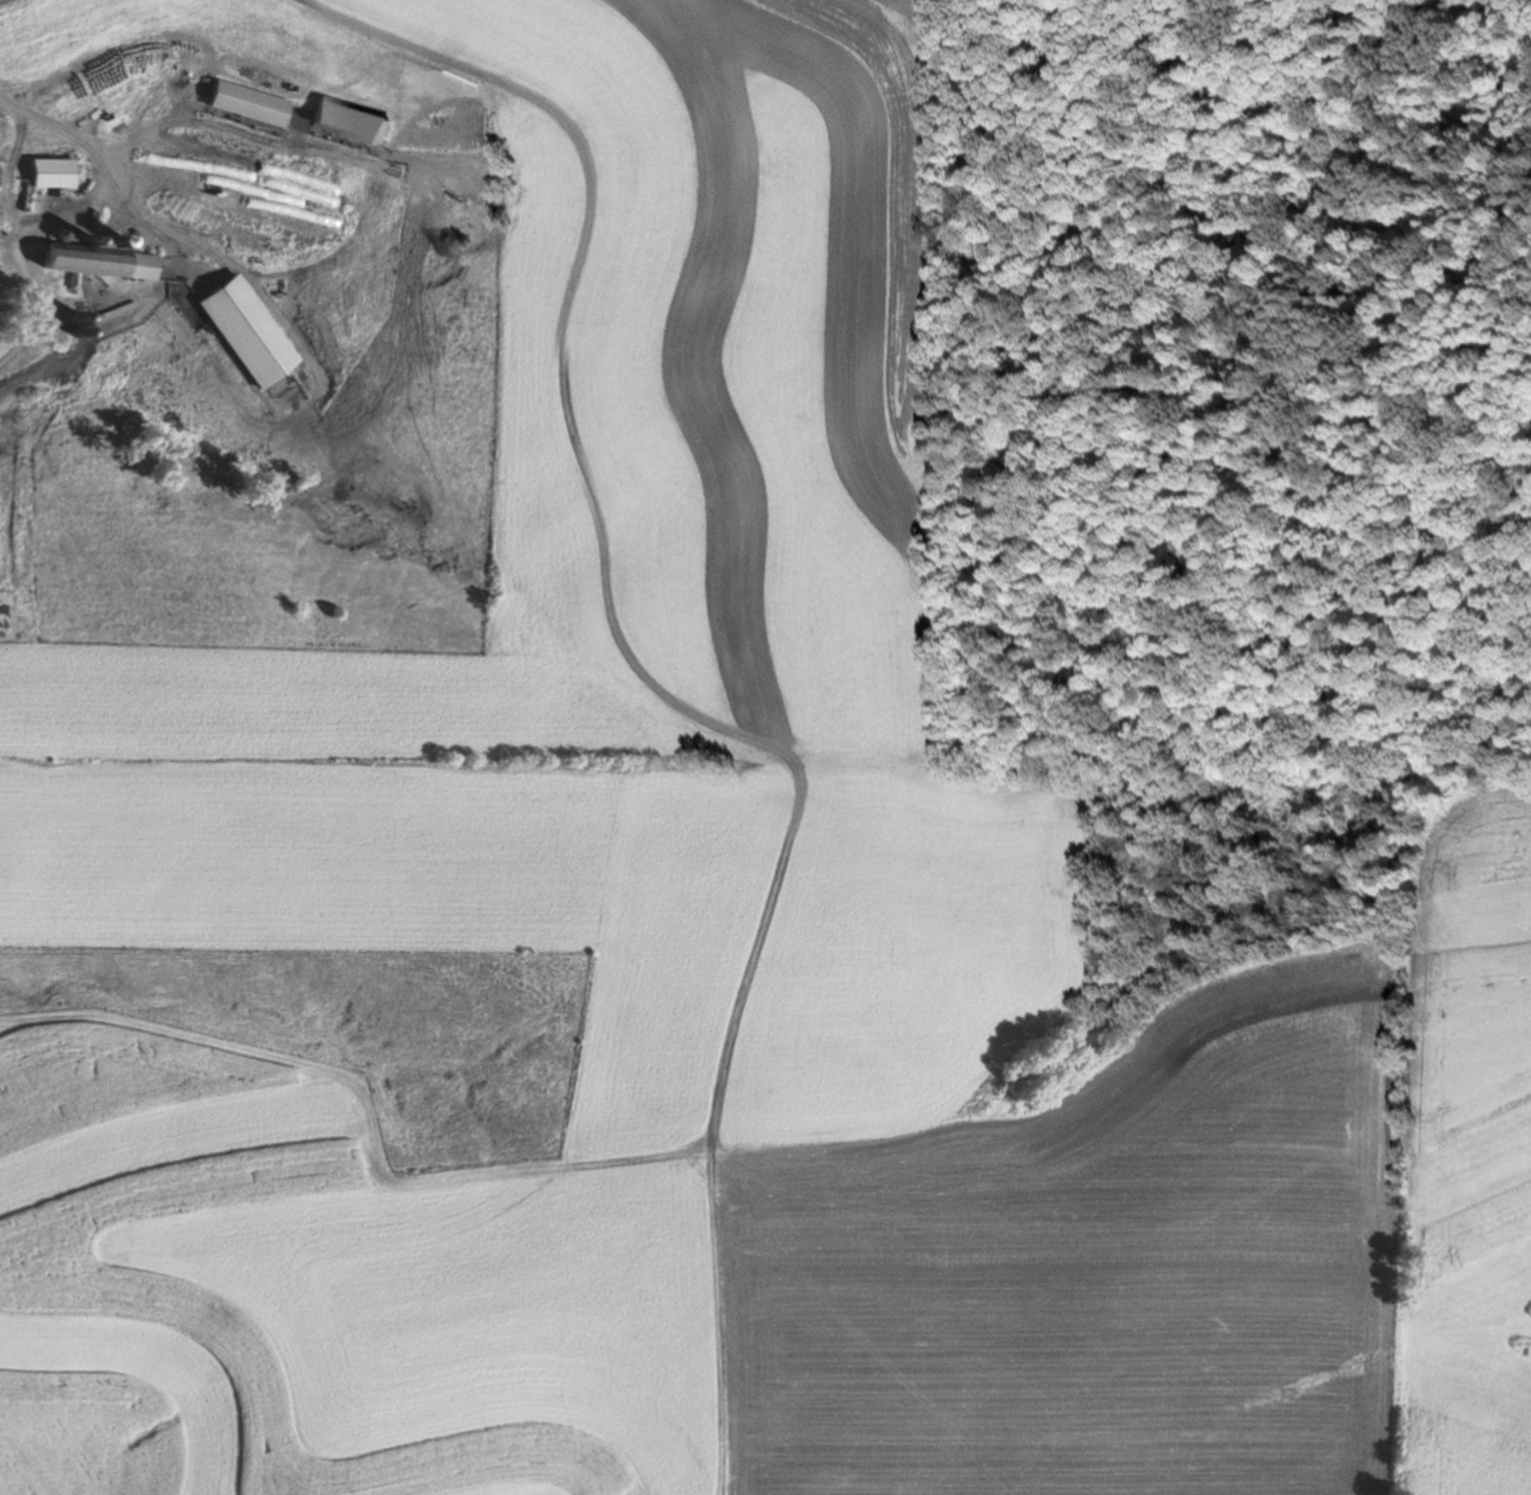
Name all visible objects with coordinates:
building: (246, 103)
building: (52, 172)
building: (115, 258)
building: (72, 282)
road: (6, 352)

